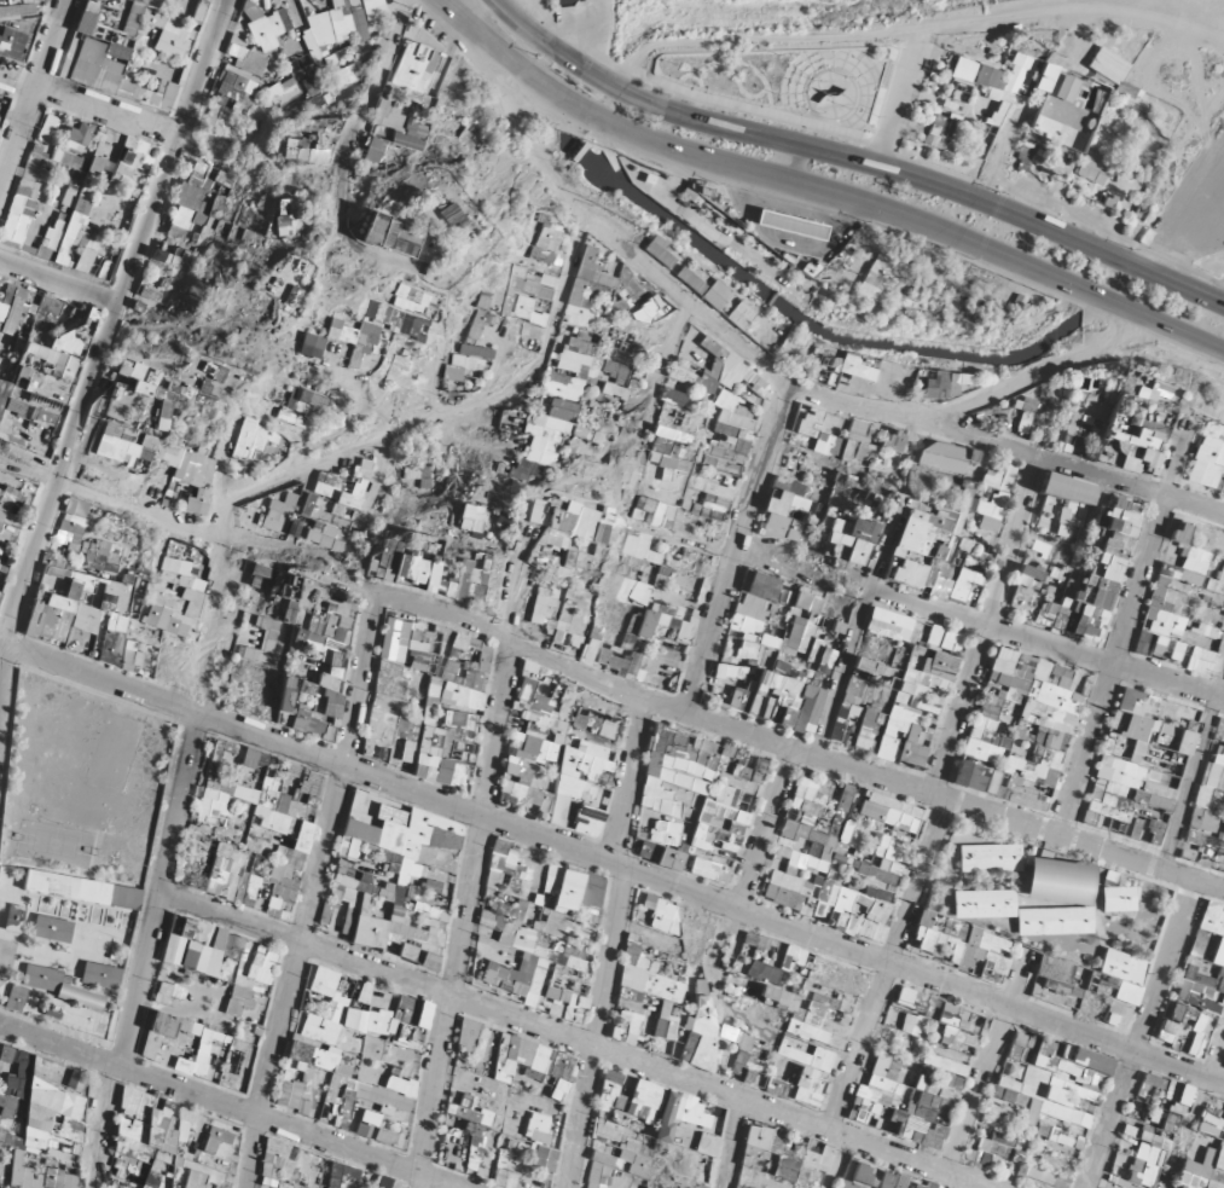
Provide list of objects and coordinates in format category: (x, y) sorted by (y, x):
road: (1217, 1)
road: (534, 18)
road: (776, 39)
building: (94, 48)
road: (882, 57)
road: (651, 59)
road: (737, 65)
road: (685, 76)
park: (784, 81)
road: (737, 93)
fountain: (820, 94)
road: (891, 109)
road: (346, 153)
road: (784, 163)
road: (851, 163)
road: (739, 181)
road: (820, 189)
road: (851, 210)
building: (783, 226)
gas station: (783, 226)
road: (1191, 230)
road: (787, 234)
road: (567, 276)
road: (103, 346)
road: (760, 357)
building: (401, 364)
road: (652, 406)
building: (228, 437)
building: (117, 440)
road: (1069, 464)
building: (823, 486)
building: (274, 525)
building: (918, 543)
road: (737, 547)
building: (1109, 555)
building: (1043, 573)
building: (59, 591)
building: (304, 604)
building: (1094, 608)
building: (1178, 612)
road: (986, 624)
road: (854, 636)
building: (939, 636)
road: (1120, 636)
road: (1046, 644)
building: (137, 655)
building: (775, 656)
building: (1013, 682)
building: (866, 734)
building: (1220, 738)
road: (784, 744)
building: (1021, 765)
road: (1194, 767)
building: (222, 834)
road: (614, 862)
building: (552, 879)
building: (570, 883)
building: (1027, 885)
building: (1120, 894)
building: (847, 899)
building: (985, 943)
building: (62, 947)
building: (1057, 966)
building: (1121, 972)
building: (325, 983)
building: (1200, 983)
building: (198, 997)
building: (410, 1033)
building: (318, 1042)
building: (949, 1060)
building: (1057, 1082)
building: (509, 1106)
road: (1194, 1106)
road: (870, 1138)

